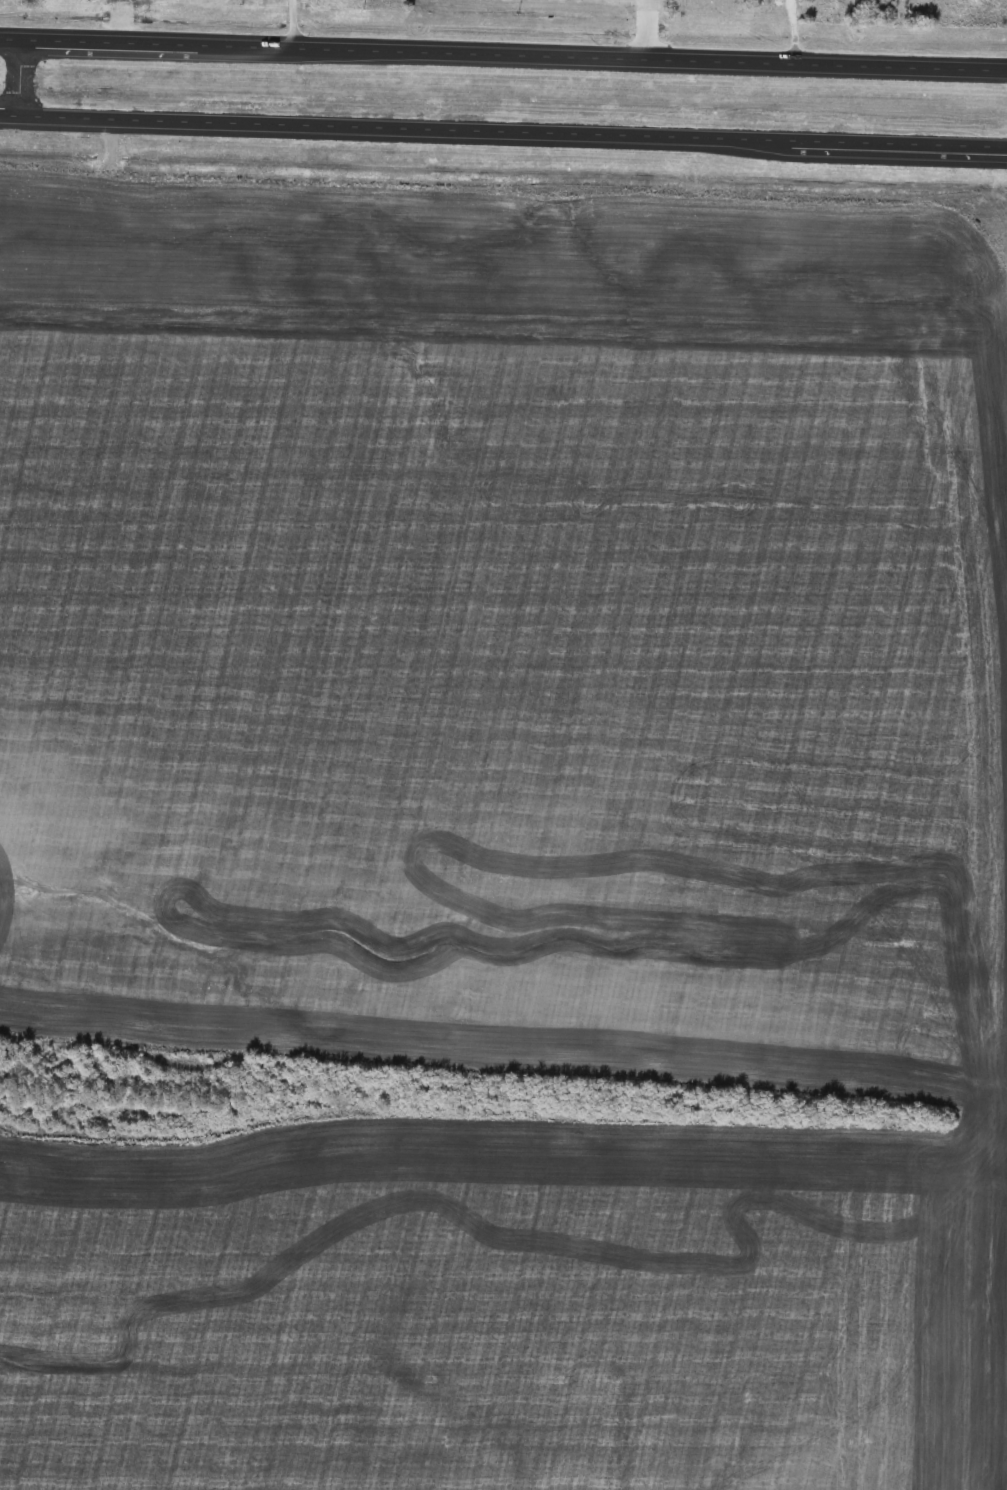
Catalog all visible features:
road: (297, 24)
road: (650, 28)
road: (503, 53)
road: (503, 134)

